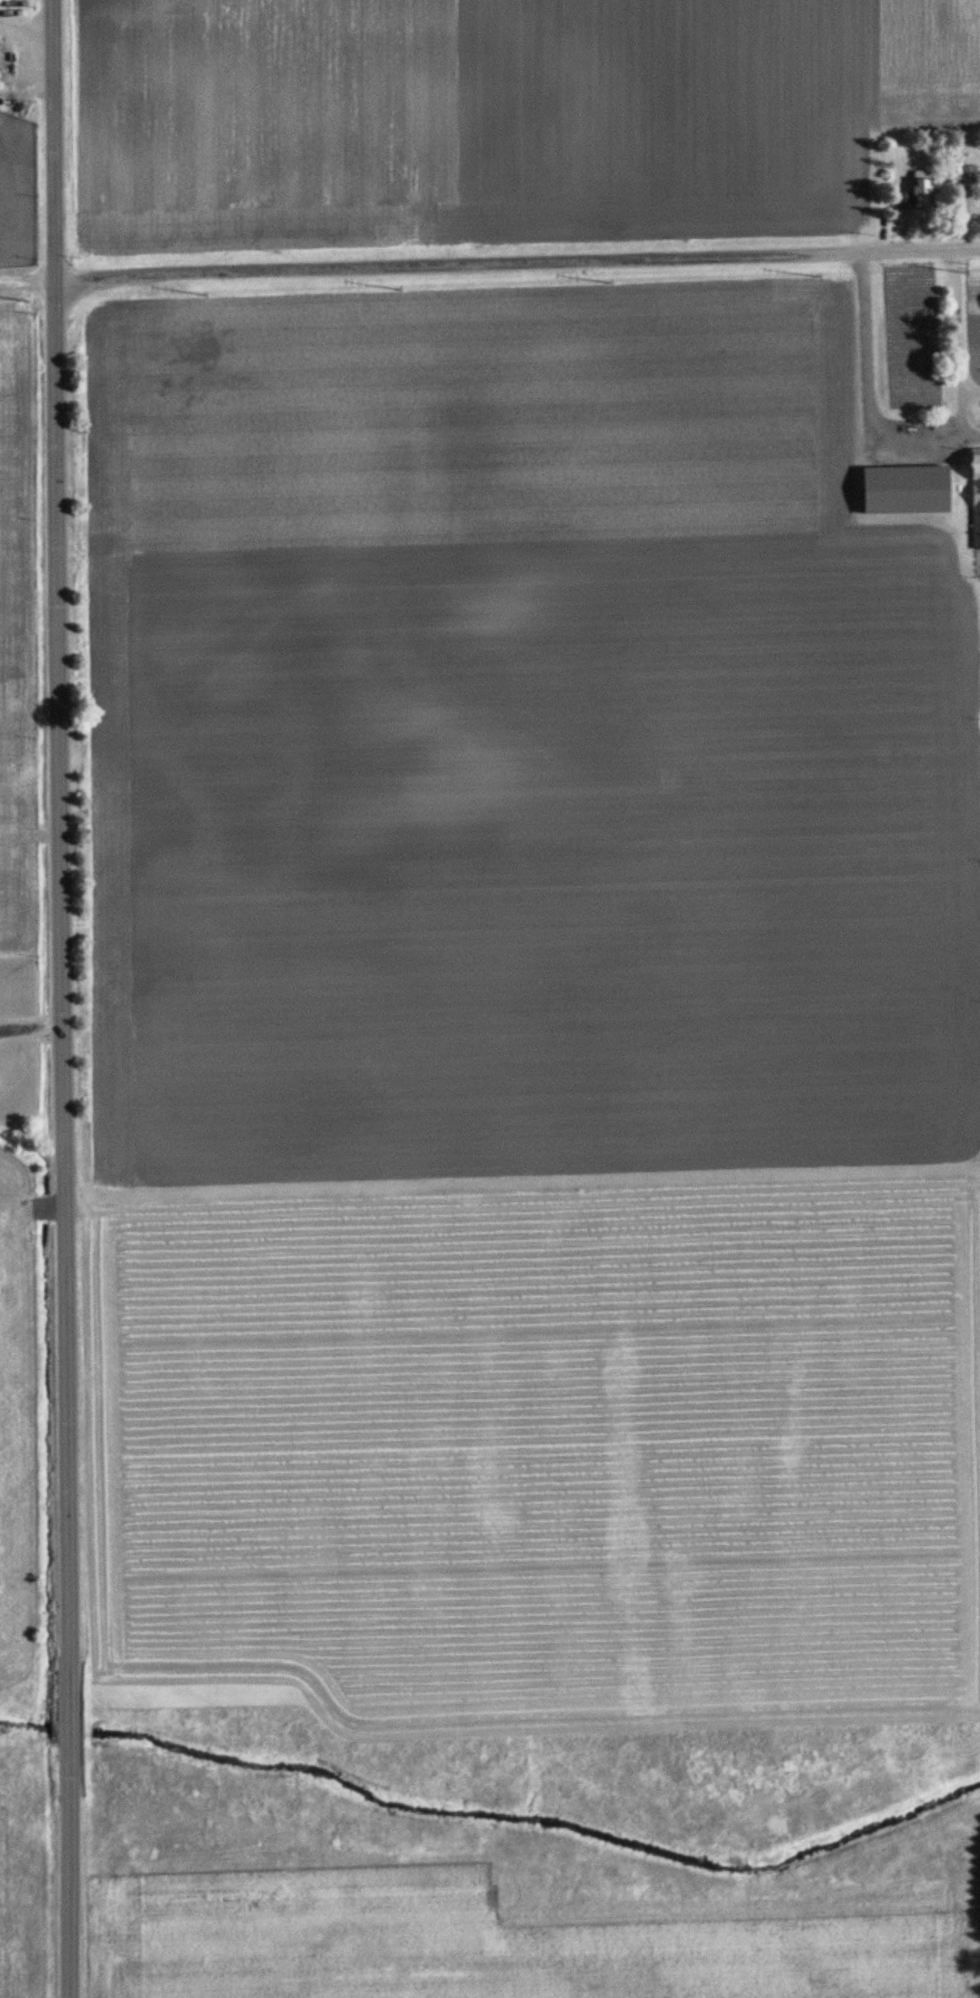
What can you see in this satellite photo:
building: (2, 1)
road: (26, 29)
building: (967, 174)
building: (918, 190)
road: (514, 263)
road: (958, 319)
road: (970, 392)
road: (962, 417)
building: (902, 469)
building: (941, 474)
building: (975, 498)
road: (60, 999)

